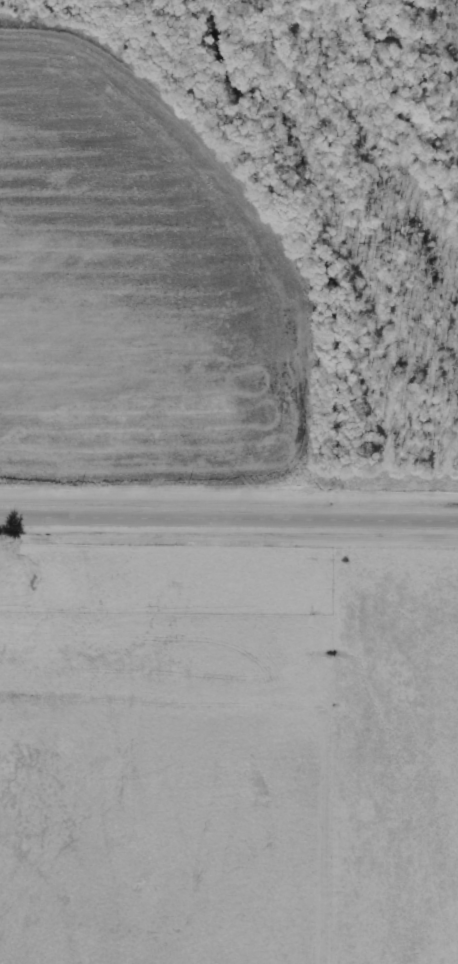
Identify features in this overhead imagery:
road: (229, 510)

